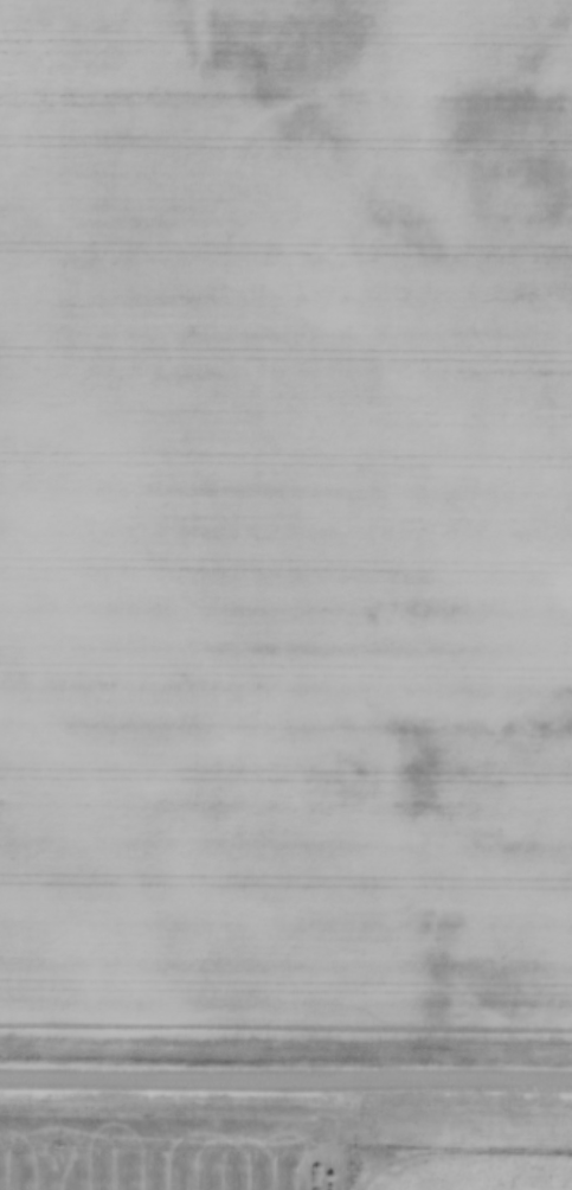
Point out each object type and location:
road: (285, 1076)

